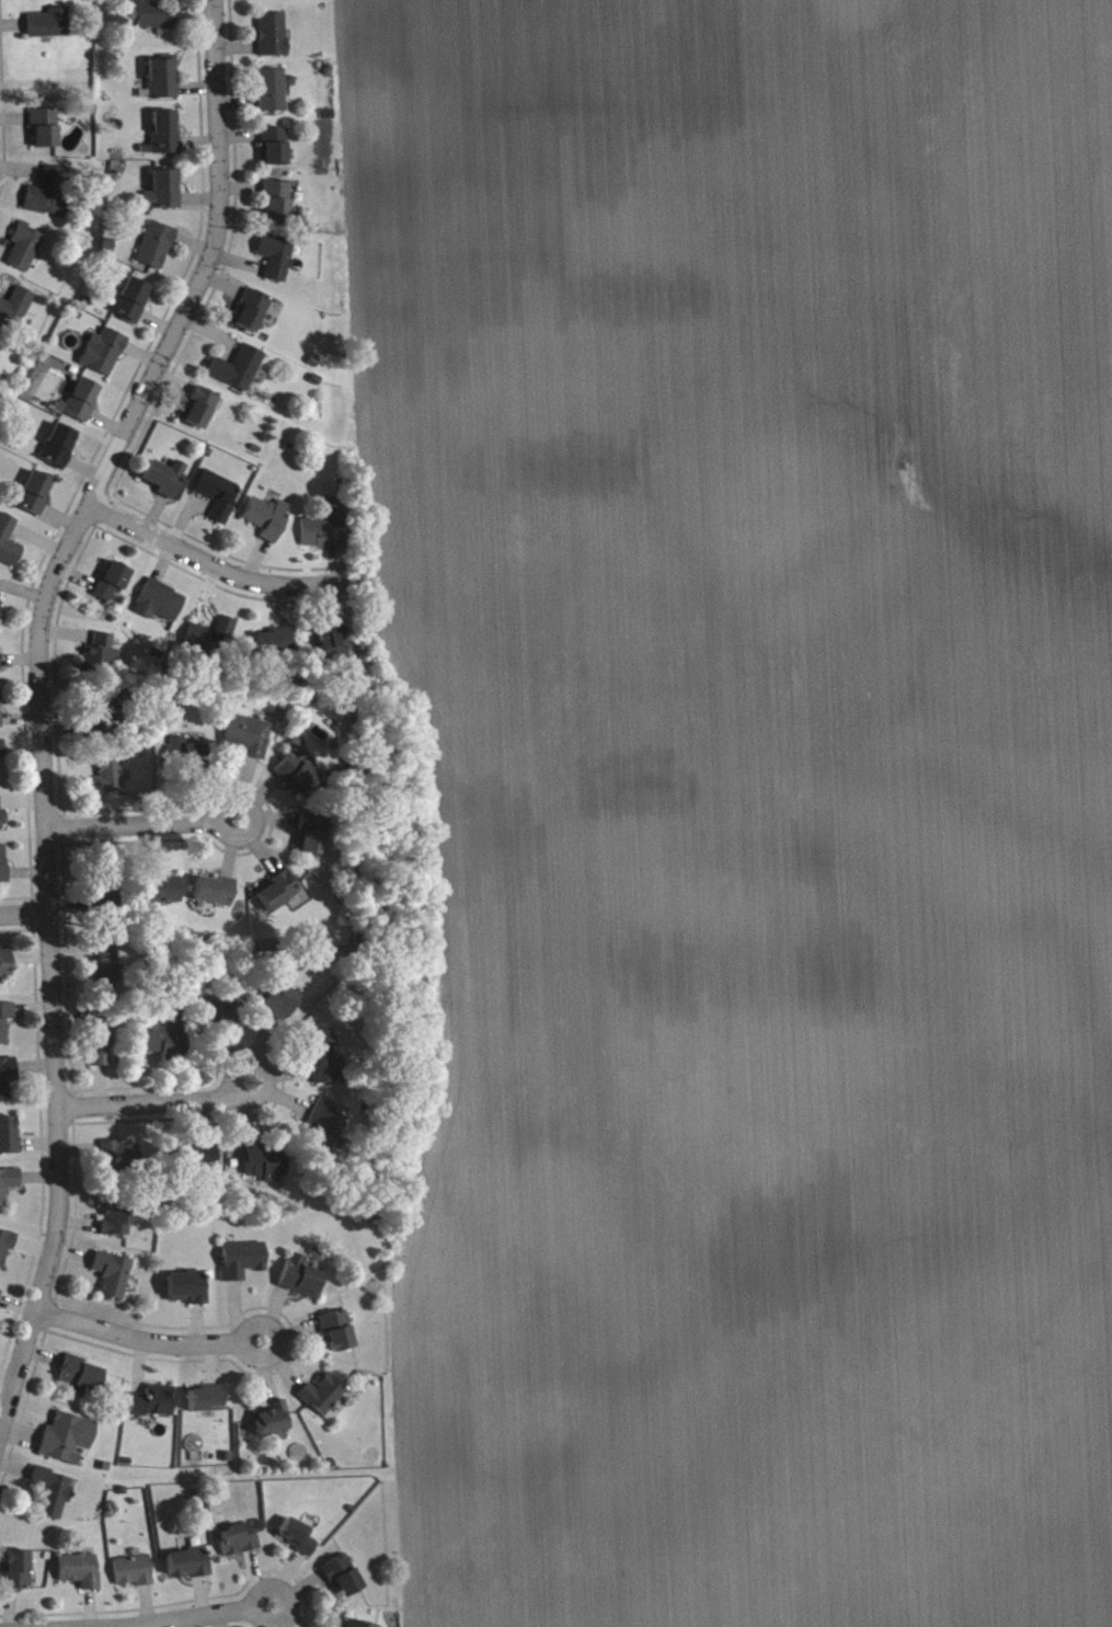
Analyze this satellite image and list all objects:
building: (277, 0)
building: (153, 20)
building: (50, 28)
building: (274, 39)
building: (163, 84)
building: (273, 95)
building: (46, 133)
building: (167, 137)
building: (275, 151)
building: (164, 196)
building: (51, 197)
building: (278, 207)
building: (157, 251)
building: (26, 252)
building: (278, 262)
building: (134, 306)
building: (16, 313)
building: (252, 317)
building: (105, 356)
building: (239, 374)
building: (83, 404)
building: (200, 413)
building: (60, 450)
building: (167, 483)
building: (36, 499)
building: (219, 501)
building: (268, 523)
building: (326, 534)
building: (9, 547)
road: (208, 563)
building: (114, 586)
building: (161, 607)
building: (1, 611)
building: (213, 641)
building: (333, 646)
building: (277, 648)
building: (102, 658)
building: (0, 666)
road: (43, 700)
building: (1, 712)
building: (248, 742)
building: (2, 754)
building: (187, 757)
building: (299, 778)
building: (110, 780)
building: (2, 824)
road: (145, 827)
building: (313, 840)
building: (3, 869)
building: (161, 893)
building: (216, 896)
building: (278, 896)
road: (27, 920)
building: (5, 970)
building: (107, 973)
building: (279, 1007)
building: (209, 1015)
building: (5, 1027)
building: (167, 1041)
building: (102, 1050)
building: (322, 1062)
building: (8, 1084)
road: (158, 1104)
building: (326, 1132)
building: (9, 1142)
building: (122, 1161)
building: (265, 1167)
building: (9, 1189)
building: (117, 1224)
building: (7, 1251)
building: (243, 1265)
building: (114, 1280)
building: (302, 1283)
building: (188, 1293)
building: (0, 1298)
building: (339, 1336)
road: (147, 1344)
building: (81, 1384)
building: (115, 1391)
building: (323, 1400)
building: (207, 1406)
building: (154, 1408)
building: (272, 1425)
building: (68, 1444)
building: (54, 1497)
building: (298, 1542)
building: (242, 1544)
building: (190, 1569)
building: (80, 1576)
building: (134, 1576)
building: (16, 1577)
building: (344, 1582)
road: (209, 1616)
building: (349, 1626)

